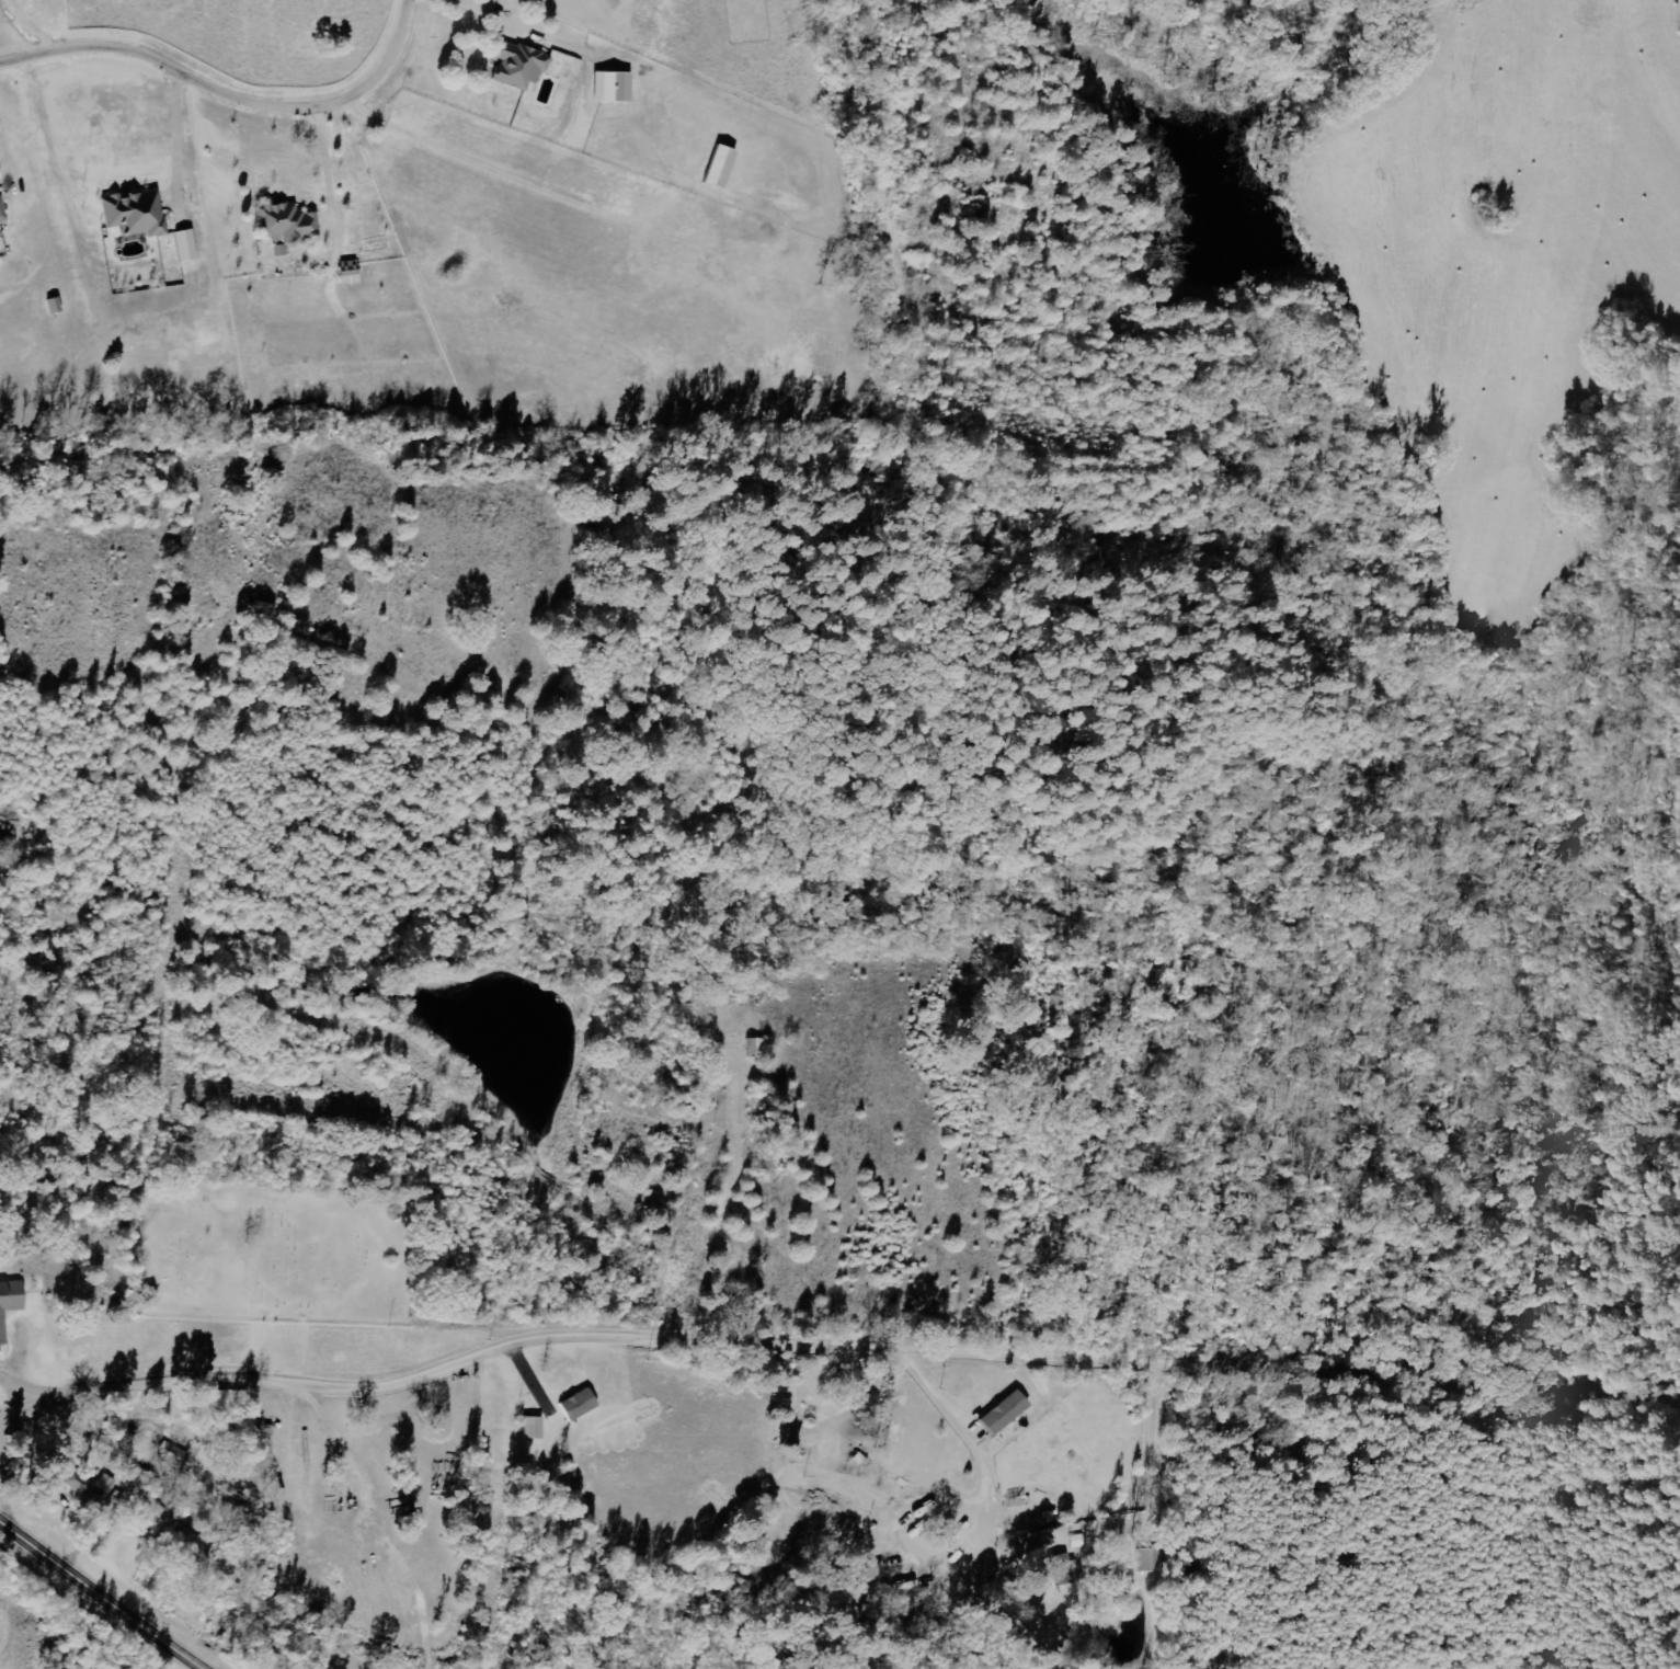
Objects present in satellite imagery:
building: (517, 66)
building: (609, 87)
road: (230, 98)
road: (4, 150)
building: (717, 167)
building: (134, 213)
building: (1, 214)
building: (287, 225)
building: (183, 245)
building: (347, 272)
building: (754, 1048)
park: (275, 1250)
building: (9, 1298)
road: (835, 1349)
building: (576, 1404)
building: (1001, 1413)
building: (530, 1428)
building: (87, 1487)
road: (699, 1516)
road: (1241, 1519)
building: (1059, 1569)
road: (970, 1593)
road: (103, 1596)

